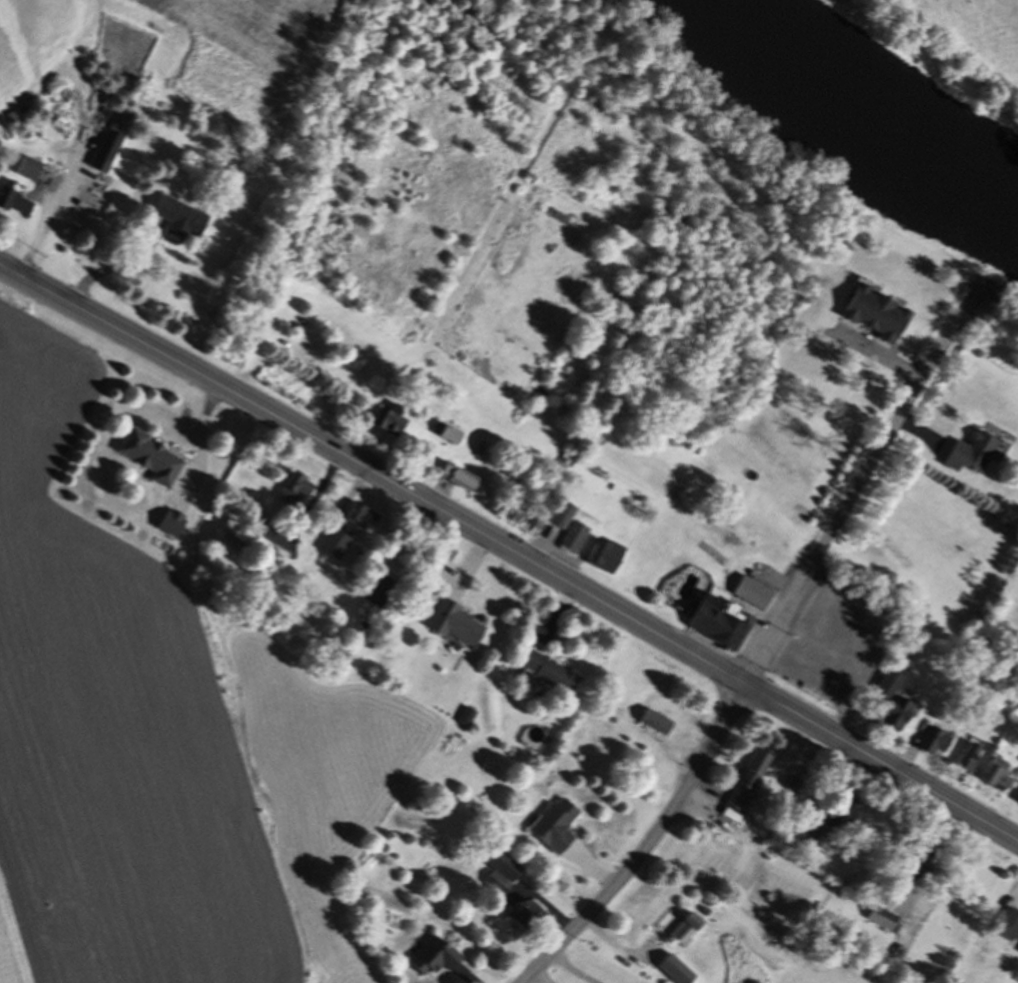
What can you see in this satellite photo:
river: (863, 104)
building: (111, 149)
building: (31, 172)
road: (53, 205)
building: (15, 206)
building: (182, 221)
building: (563, 221)
building: (874, 318)
building: (391, 425)
building: (449, 436)
building: (970, 457)
building: (153, 460)
building: (461, 481)
road: (856, 481)
building: (296, 493)
building: (564, 518)
building: (364, 520)
building: (173, 526)
building: (576, 540)
road: (511, 547)
building: (335, 548)
building: (608, 560)
building: (379, 593)
building: (755, 596)
building: (720, 625)
building: (458, 626)
building: (552, 674)
building: (896, 705)
building: (658, 724)
building: (934, 744)
building: (967, 758)
building: (996, 777)
building: (750, 782)
building: (1017, 808)
building: (847, 816)
building: (557, 827)
building: (809, 837)
road: (650, 842)
road: (943, 861)
building: (915, 867)
building: (503, 873)
building: (529, 917)
building: (880, 921)
building: (688, 931)
building: (1008, 931)
building: (435, 959)
road: (562, 971)

